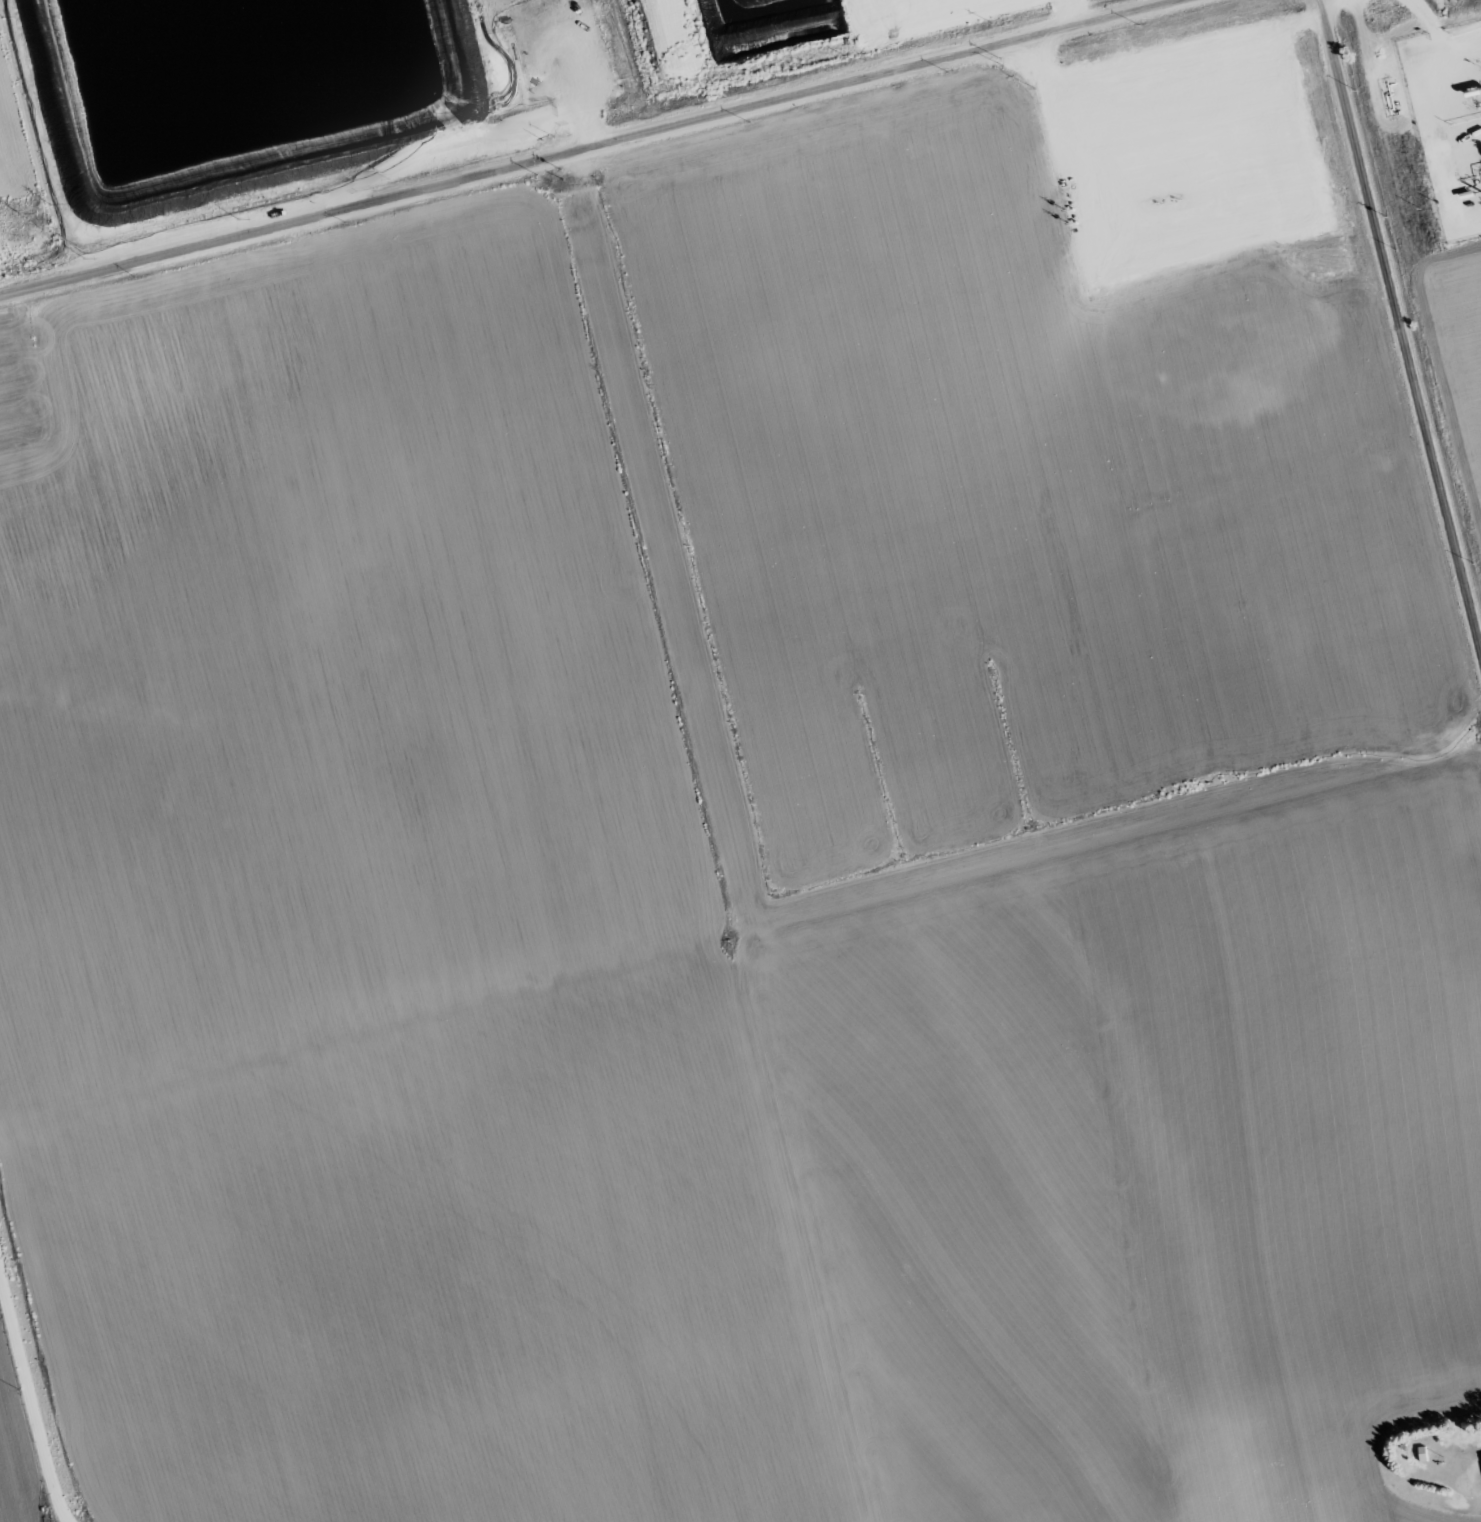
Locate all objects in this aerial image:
road: (591, 146)
road: (1399, 327)
building: (1478, 1484)

